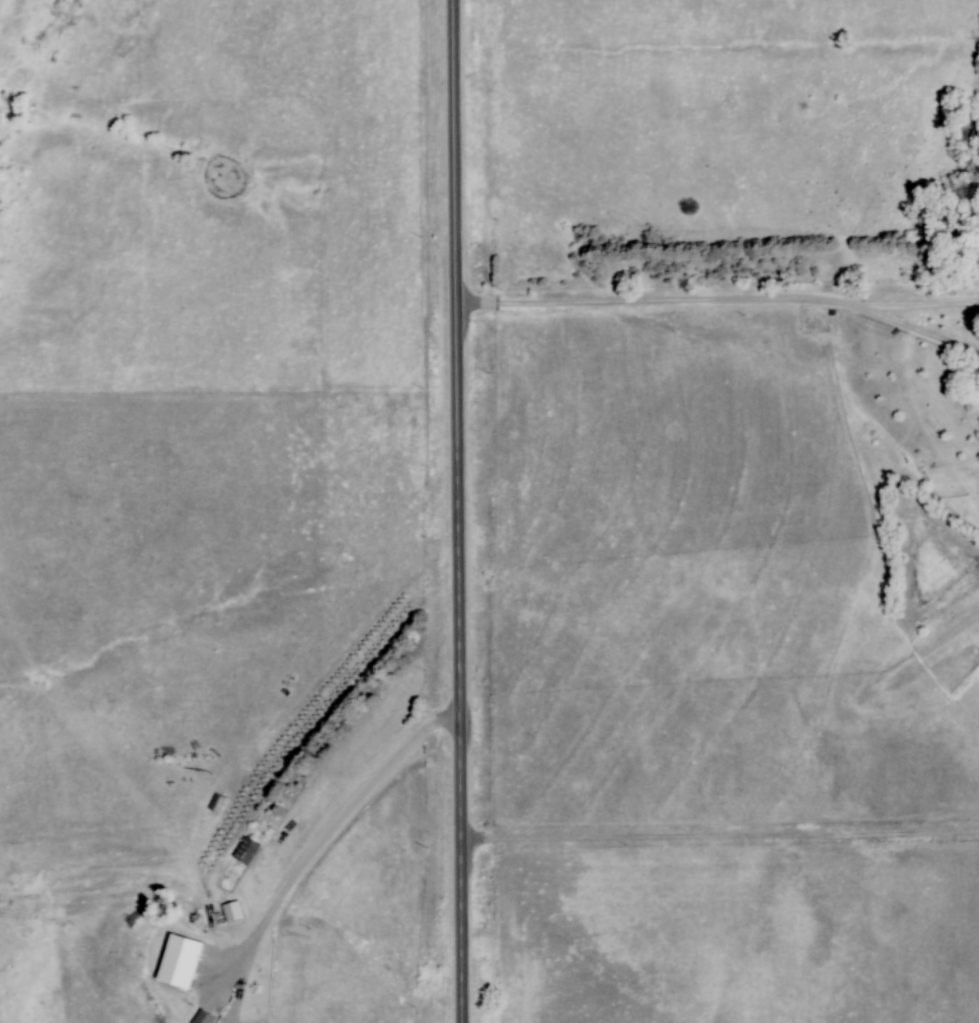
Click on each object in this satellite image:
road: (726, 303)
road: (463, 511)
building: (218, 802)
road: (720, 837)
road: (313, 844)
building: (247, 850)
building: (189, 955)
building: (205, 1017)

